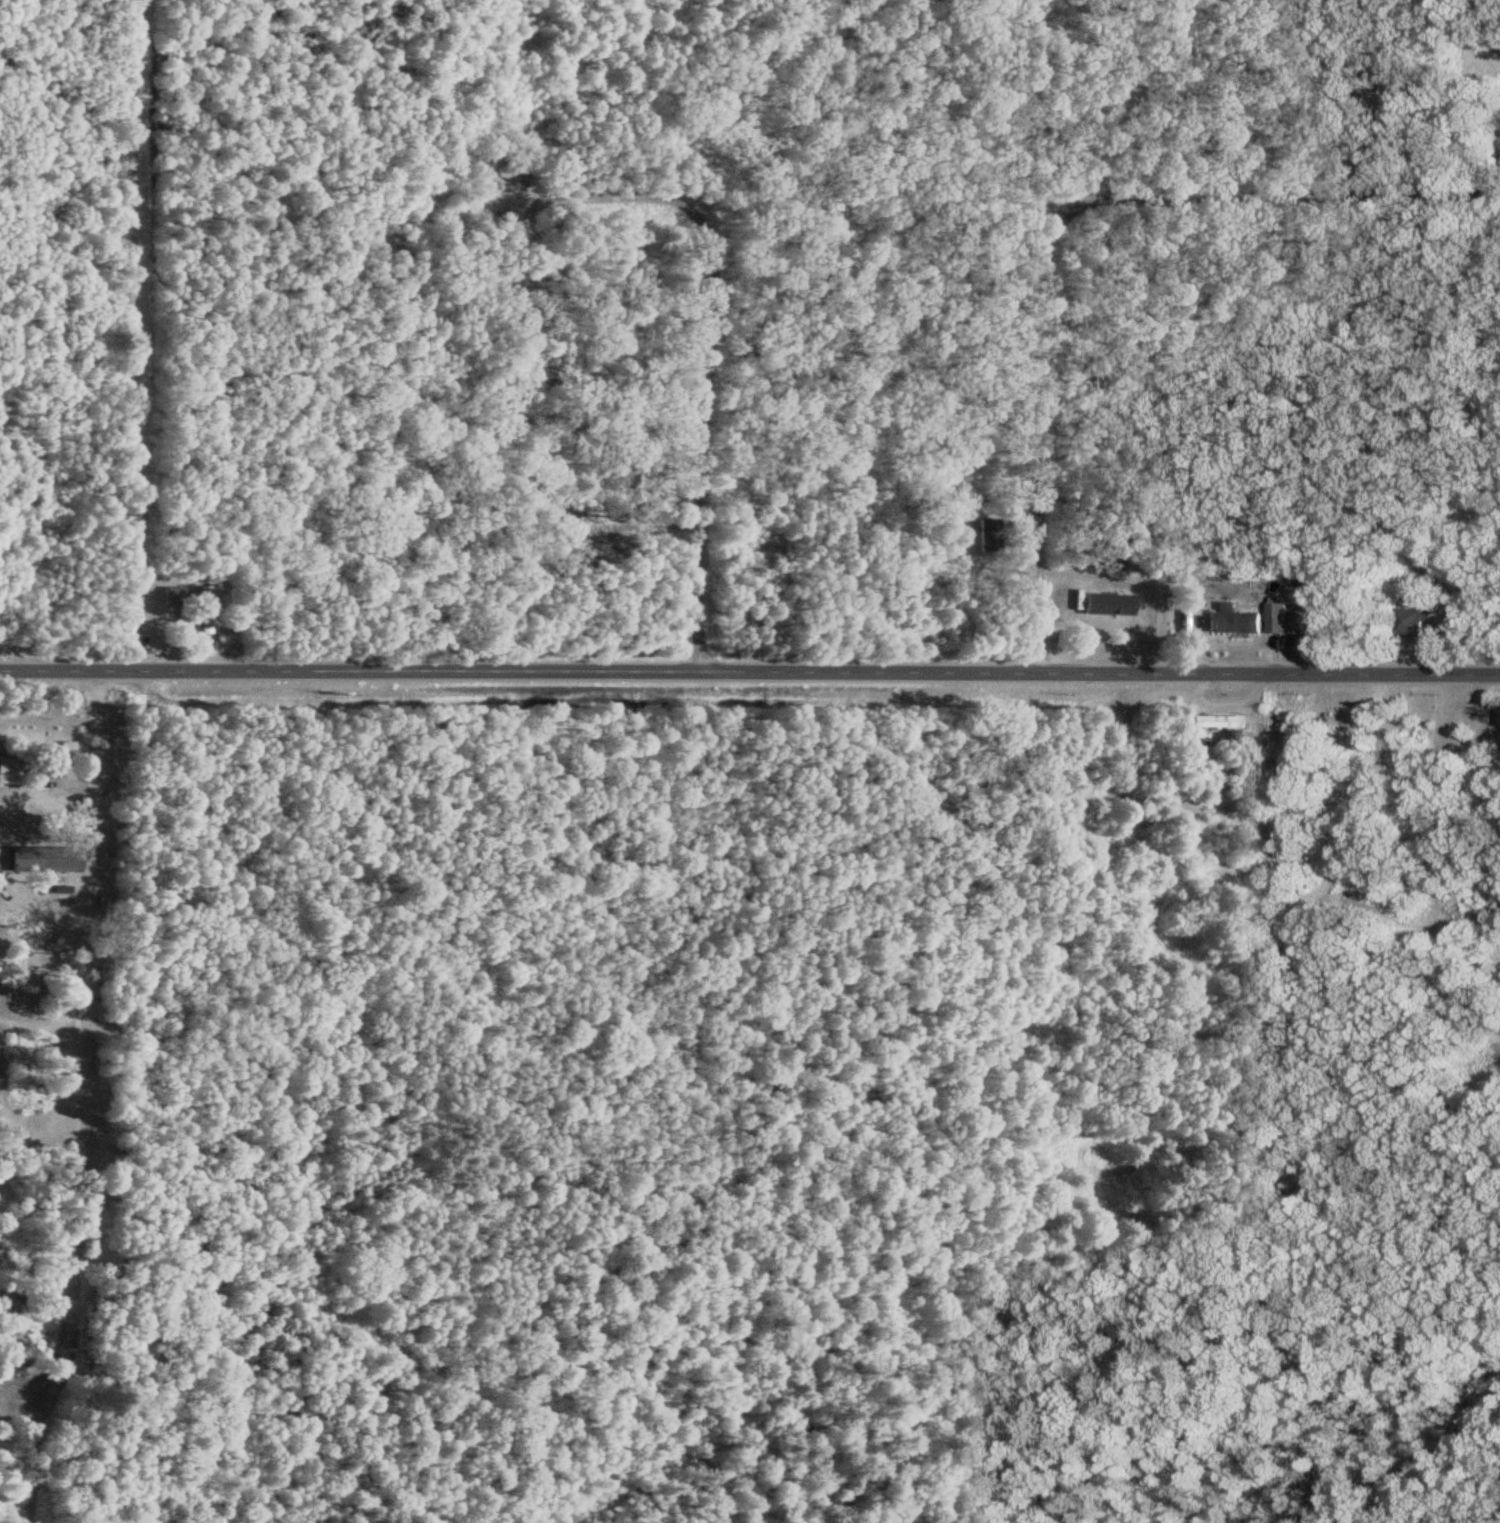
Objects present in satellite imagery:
road: (1064, 88)
road: (1285, 165)
road: (617, 167)
road: (1102, 226)
road: (701, 334)
road: (1037, 417)
building: (171, 597)
building: (1107, 605)
building: (198, 609)
building: (1229, 620)
road: (749, 671)
building: (1343, 714)
building: (64, 750)
building: (5, 771)
building: (45, 859)

